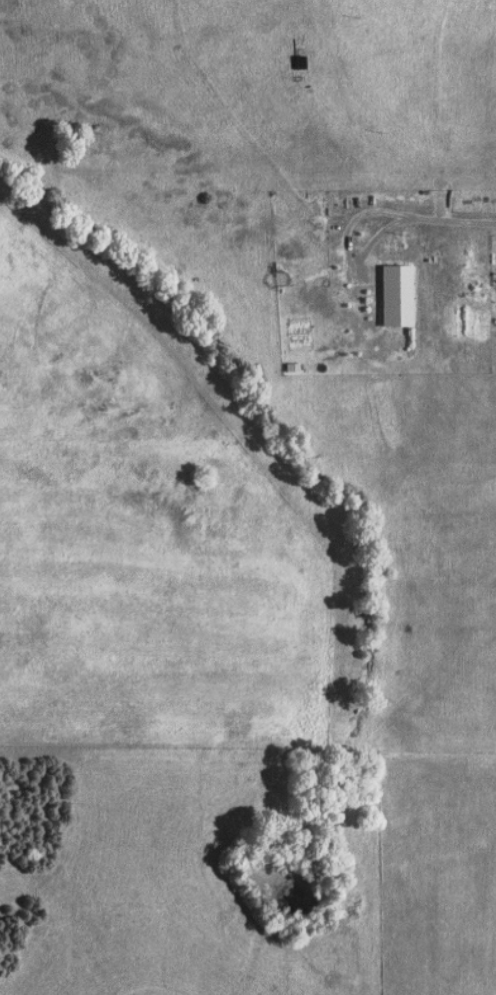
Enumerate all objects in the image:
road: (457, 222)
road: (351, 247)
building: (401, 296)

